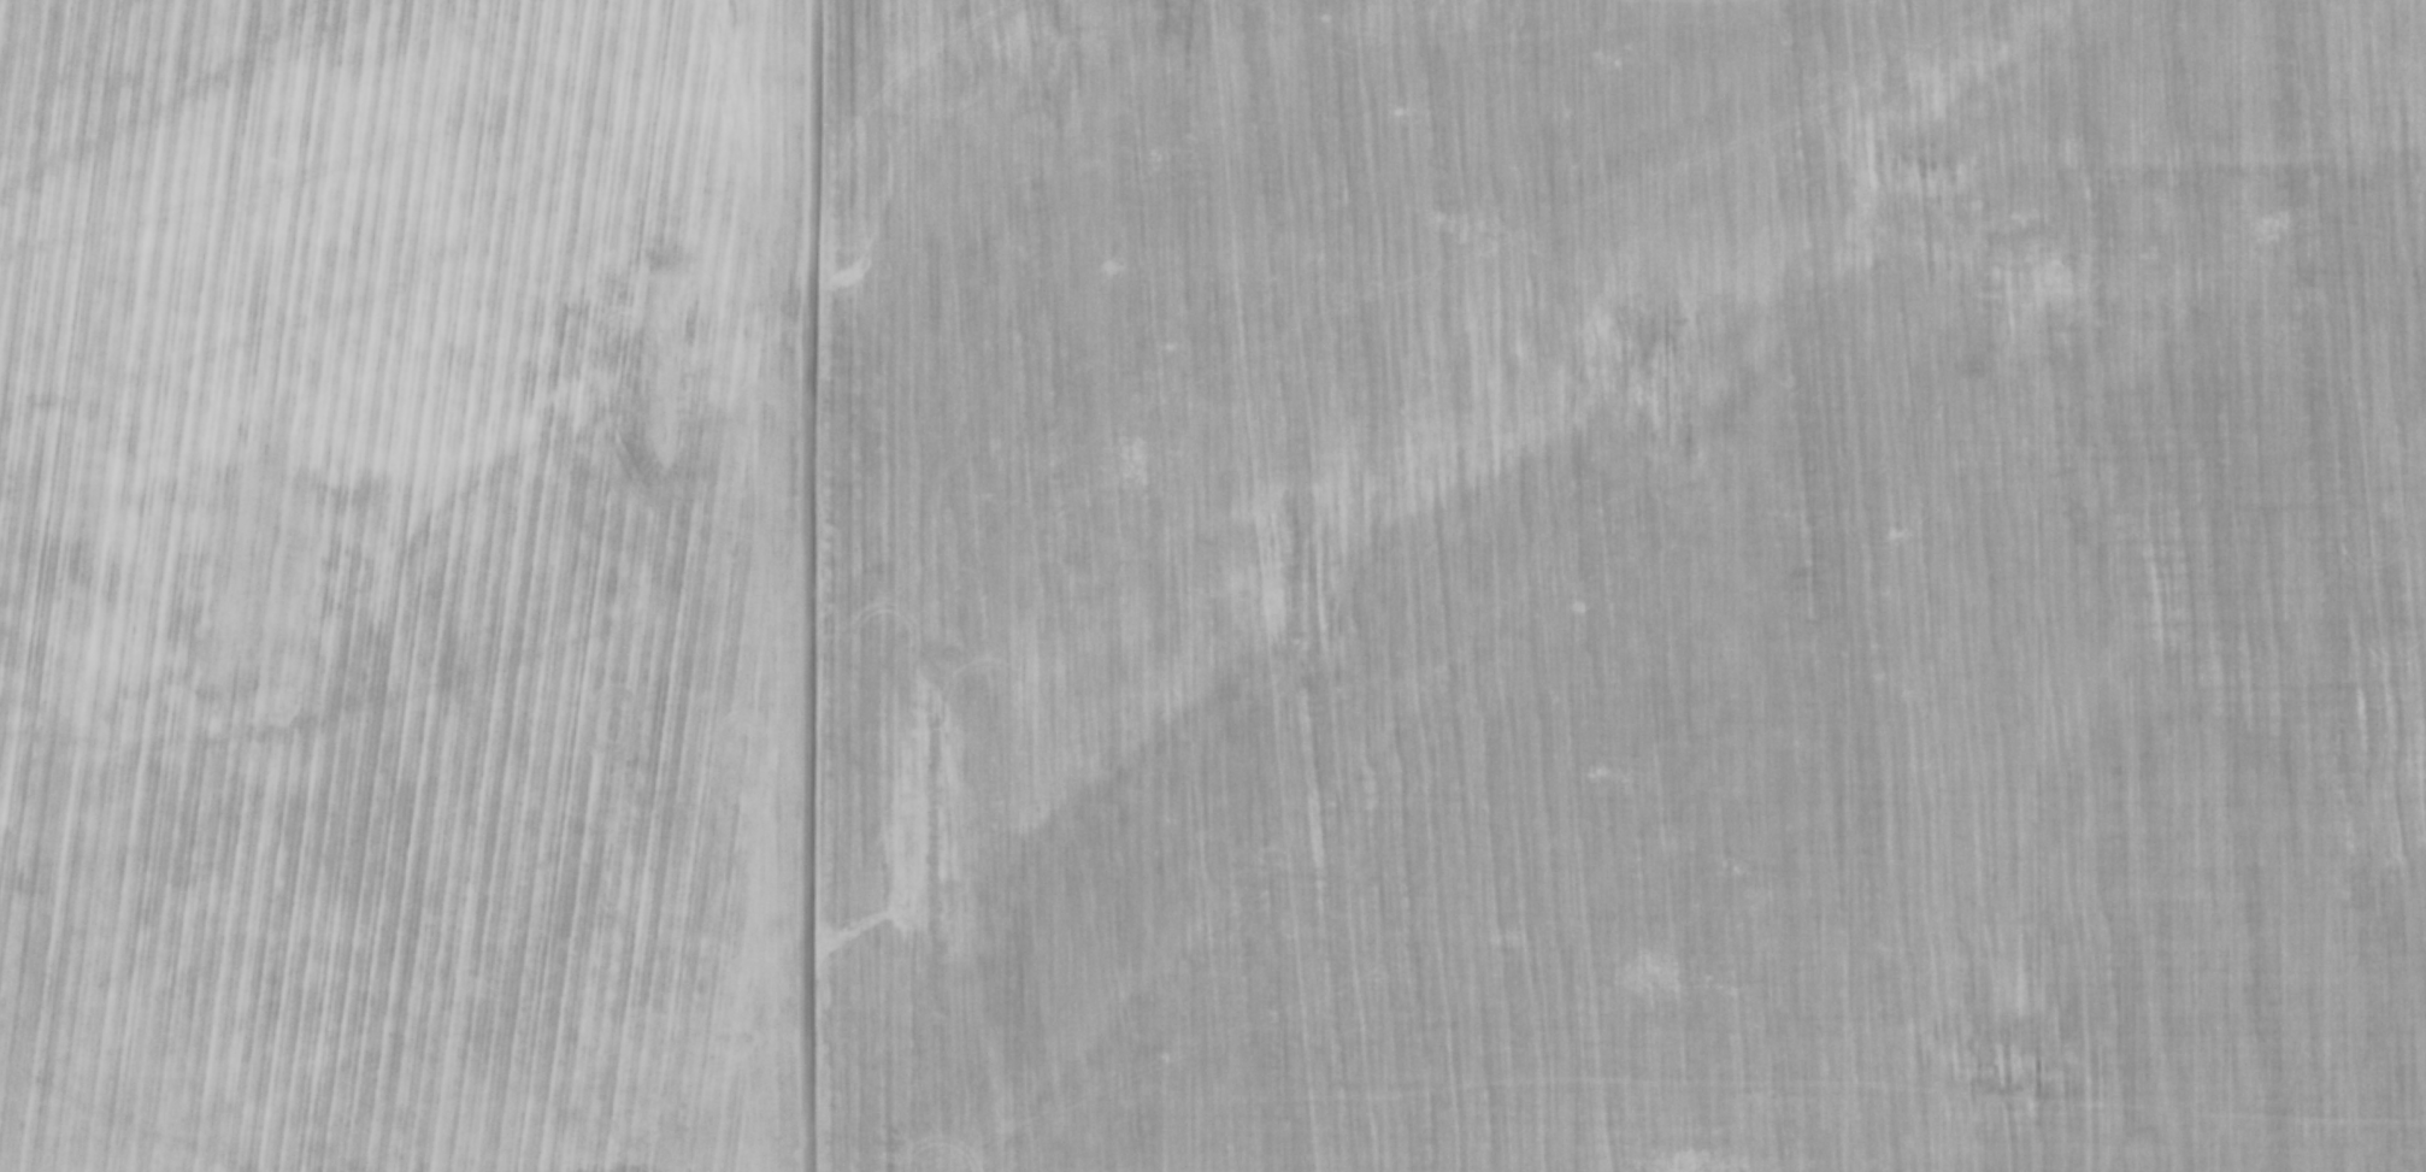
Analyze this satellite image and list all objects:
road: (802, 585)

